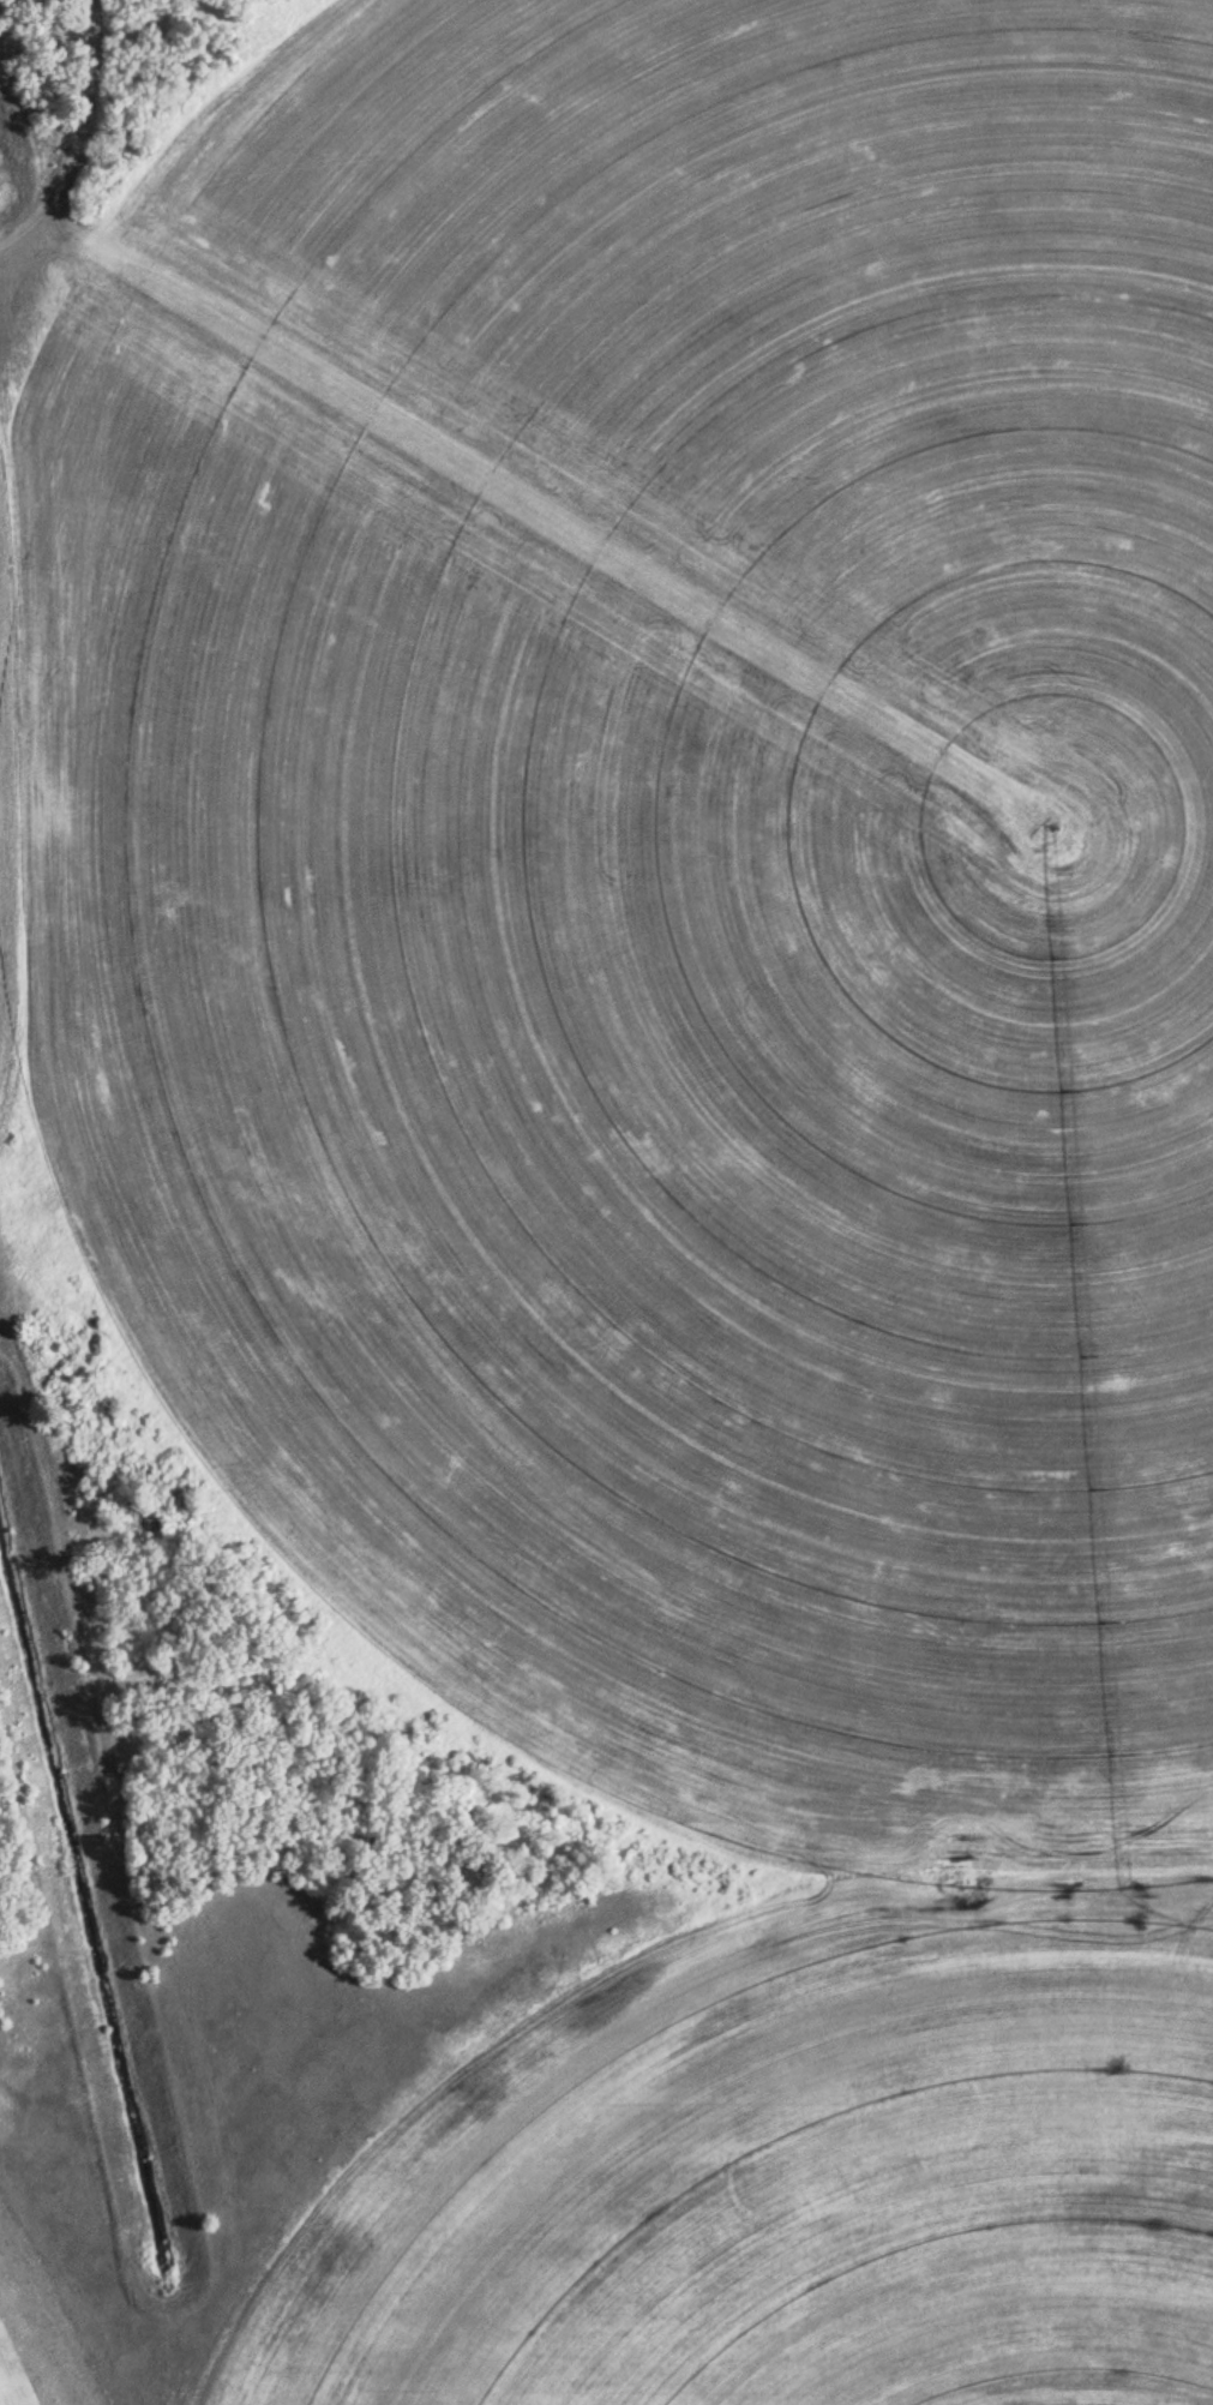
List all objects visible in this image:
road: (90, 106)
wastewater plant: (606, 1202)

